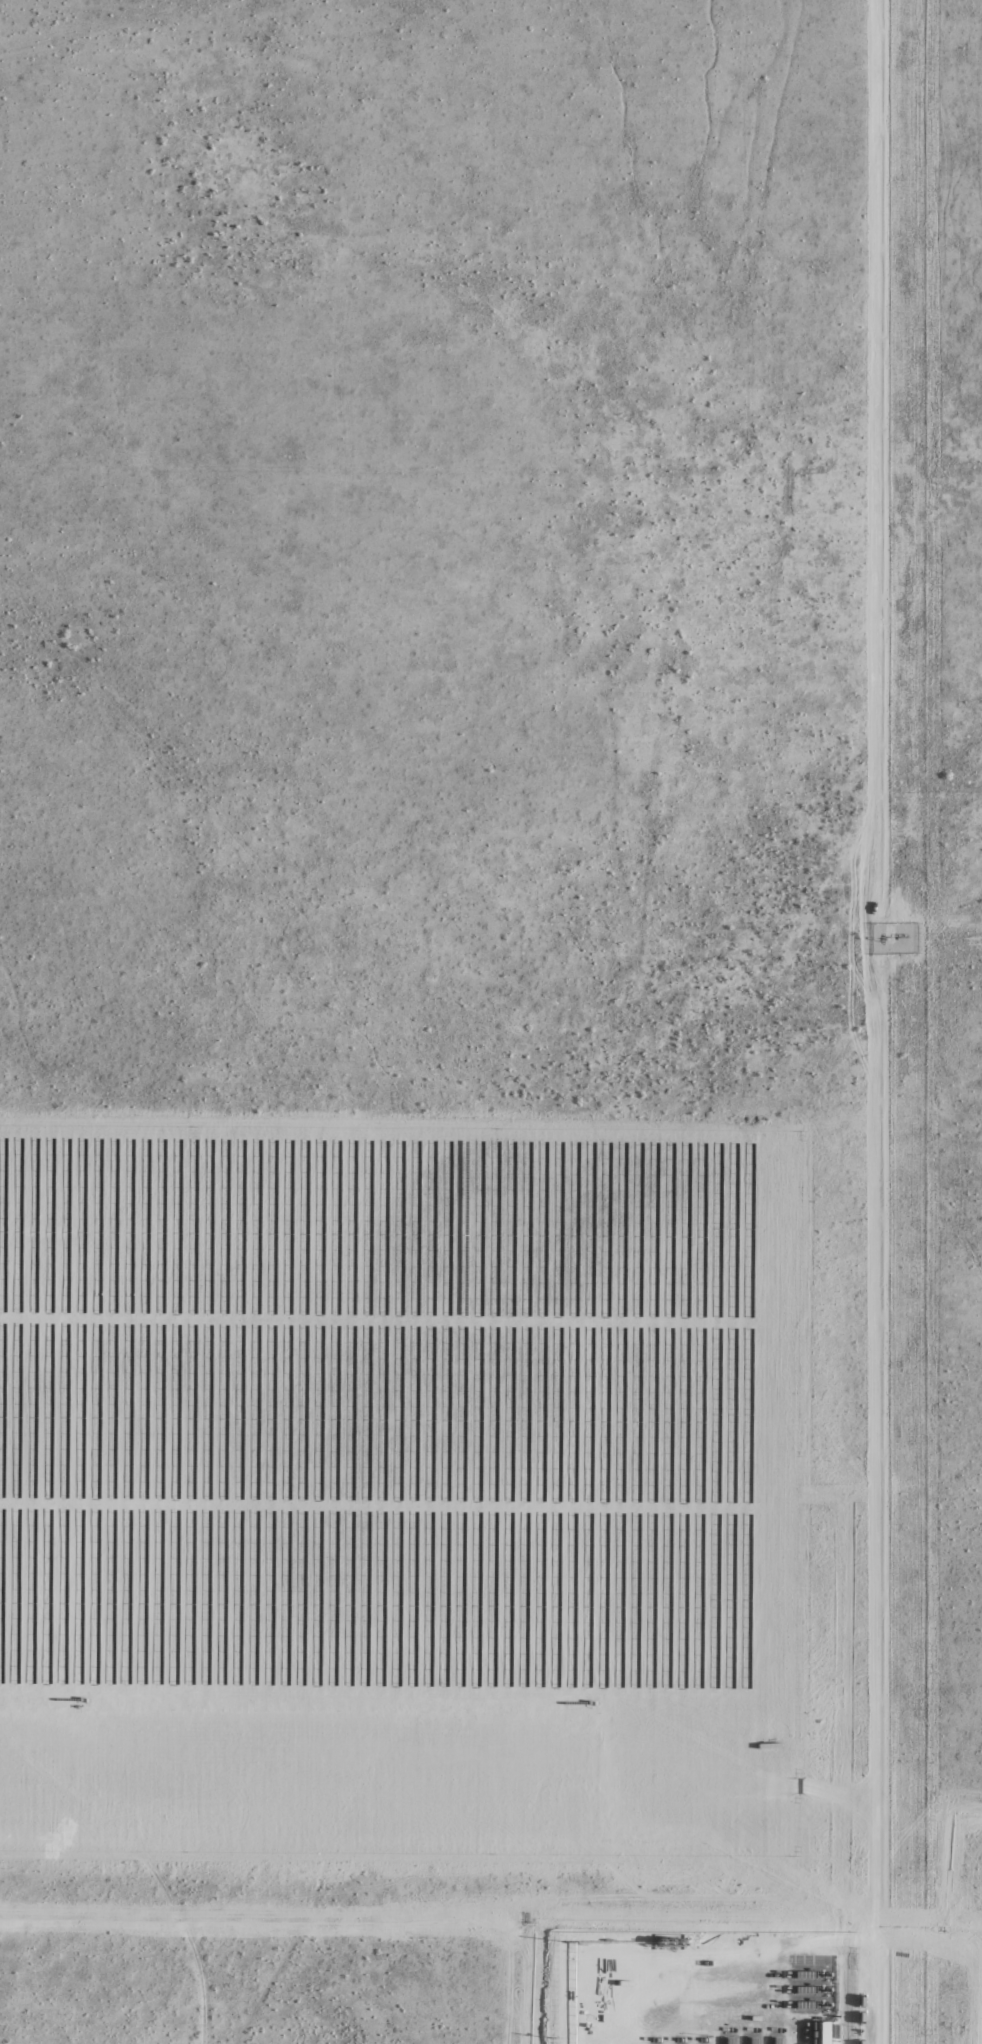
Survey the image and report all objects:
road: (875, 1020)
solar farm: (399, 1499)
road: (439, 1780)
road: (567, 2004)

